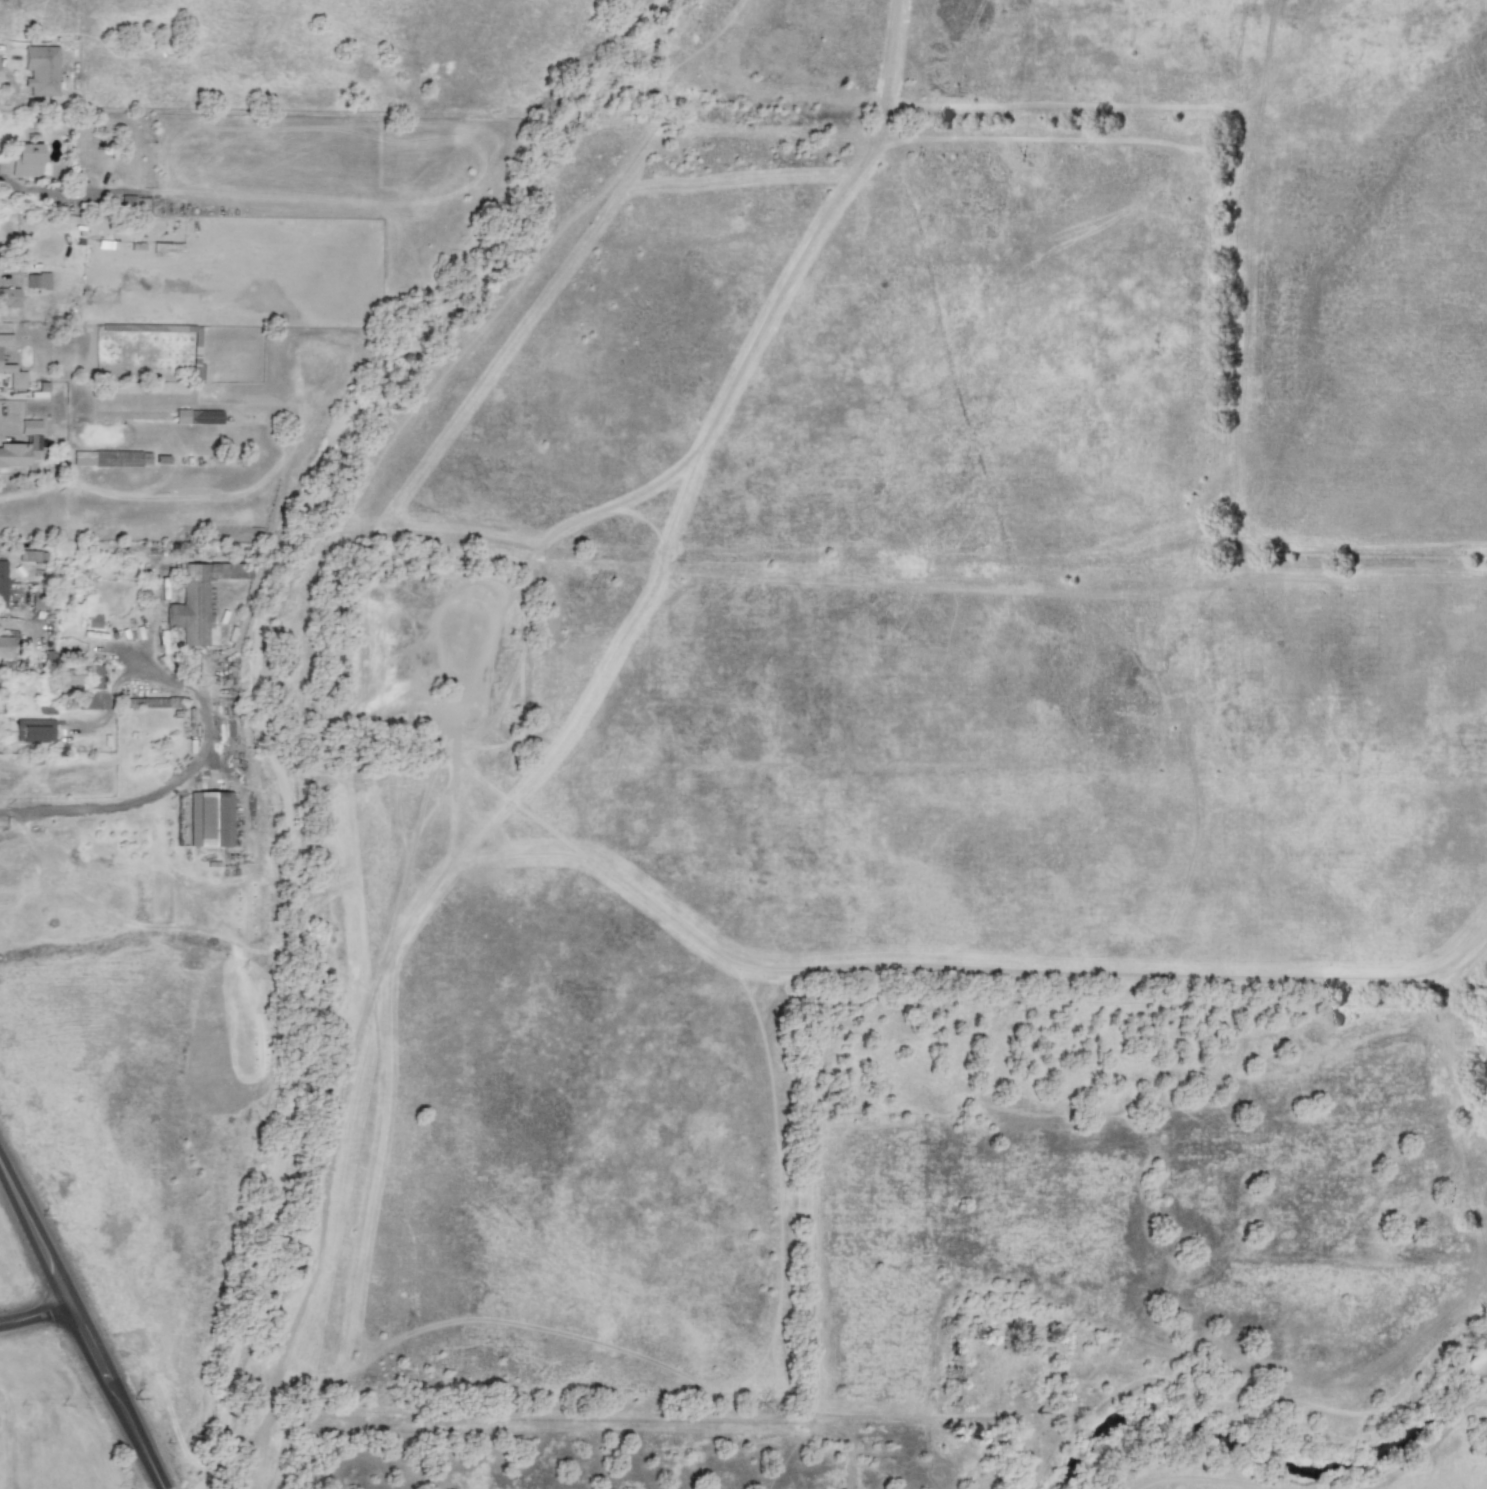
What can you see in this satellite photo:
building: (40, 69)
building: (25, 159)
building: (36, 280)
building: (8, 297)
building: (5, 339)
building: (13, 376)
building: (196, 416)
building: (21, 445)
building: (92, 457)
building: (2, 581)
building: (199, 598)
building: (93, 621)
road: (18, 623)
building: (5, 646)
building: (71, 676)
building: (93, 676)
building: (90, 700)
building: (155, 702)
building: (34, 729)
road: (198, 754)
road: (226, 776)
road: (284, 782)
crop: (895, 795)
building: (209, 818)
road: (34, 1234)
road: (34, 1313)
road: (113, 1395)
road: (596, 1412)

